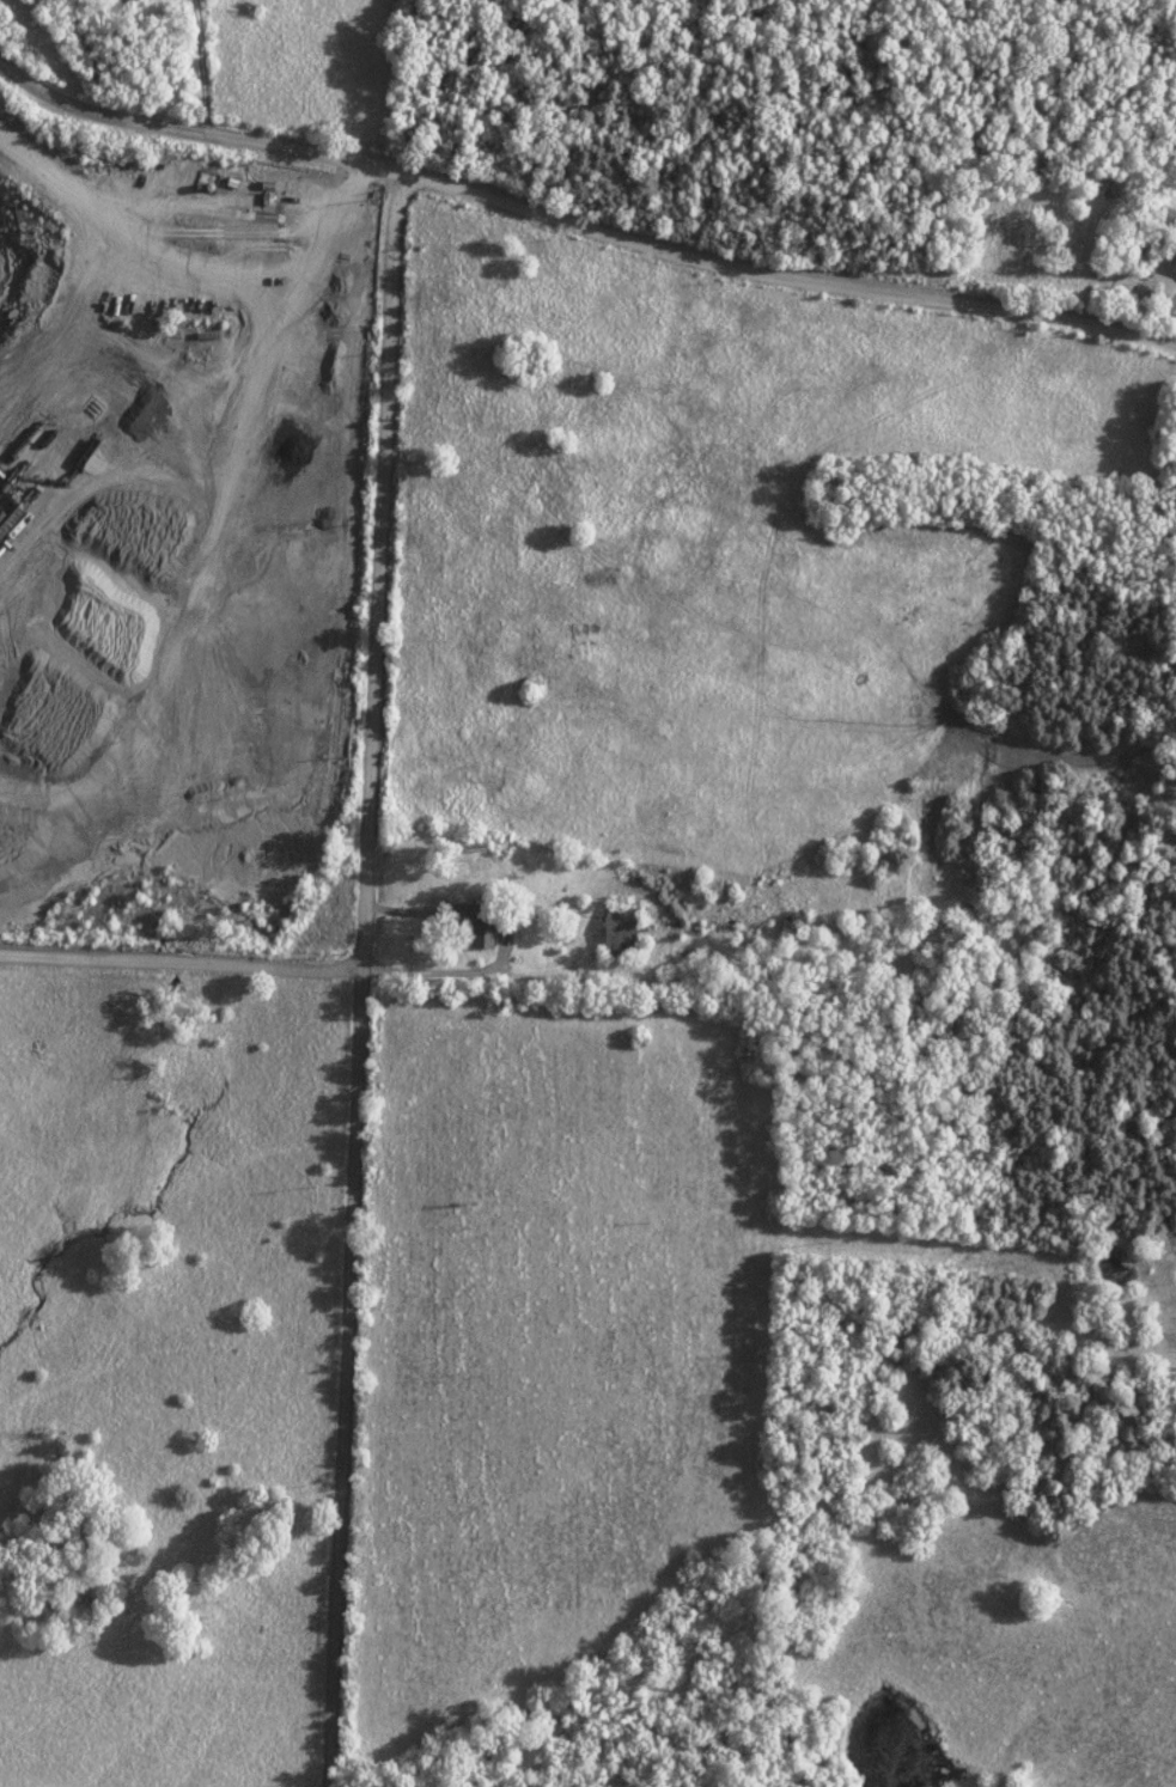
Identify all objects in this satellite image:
road: (579, 225)
building: (1171, 263)
building: (473, 921)
building: (617, 929)
road: (179, 958)
road: (429, 974)
road: (359, 982)

